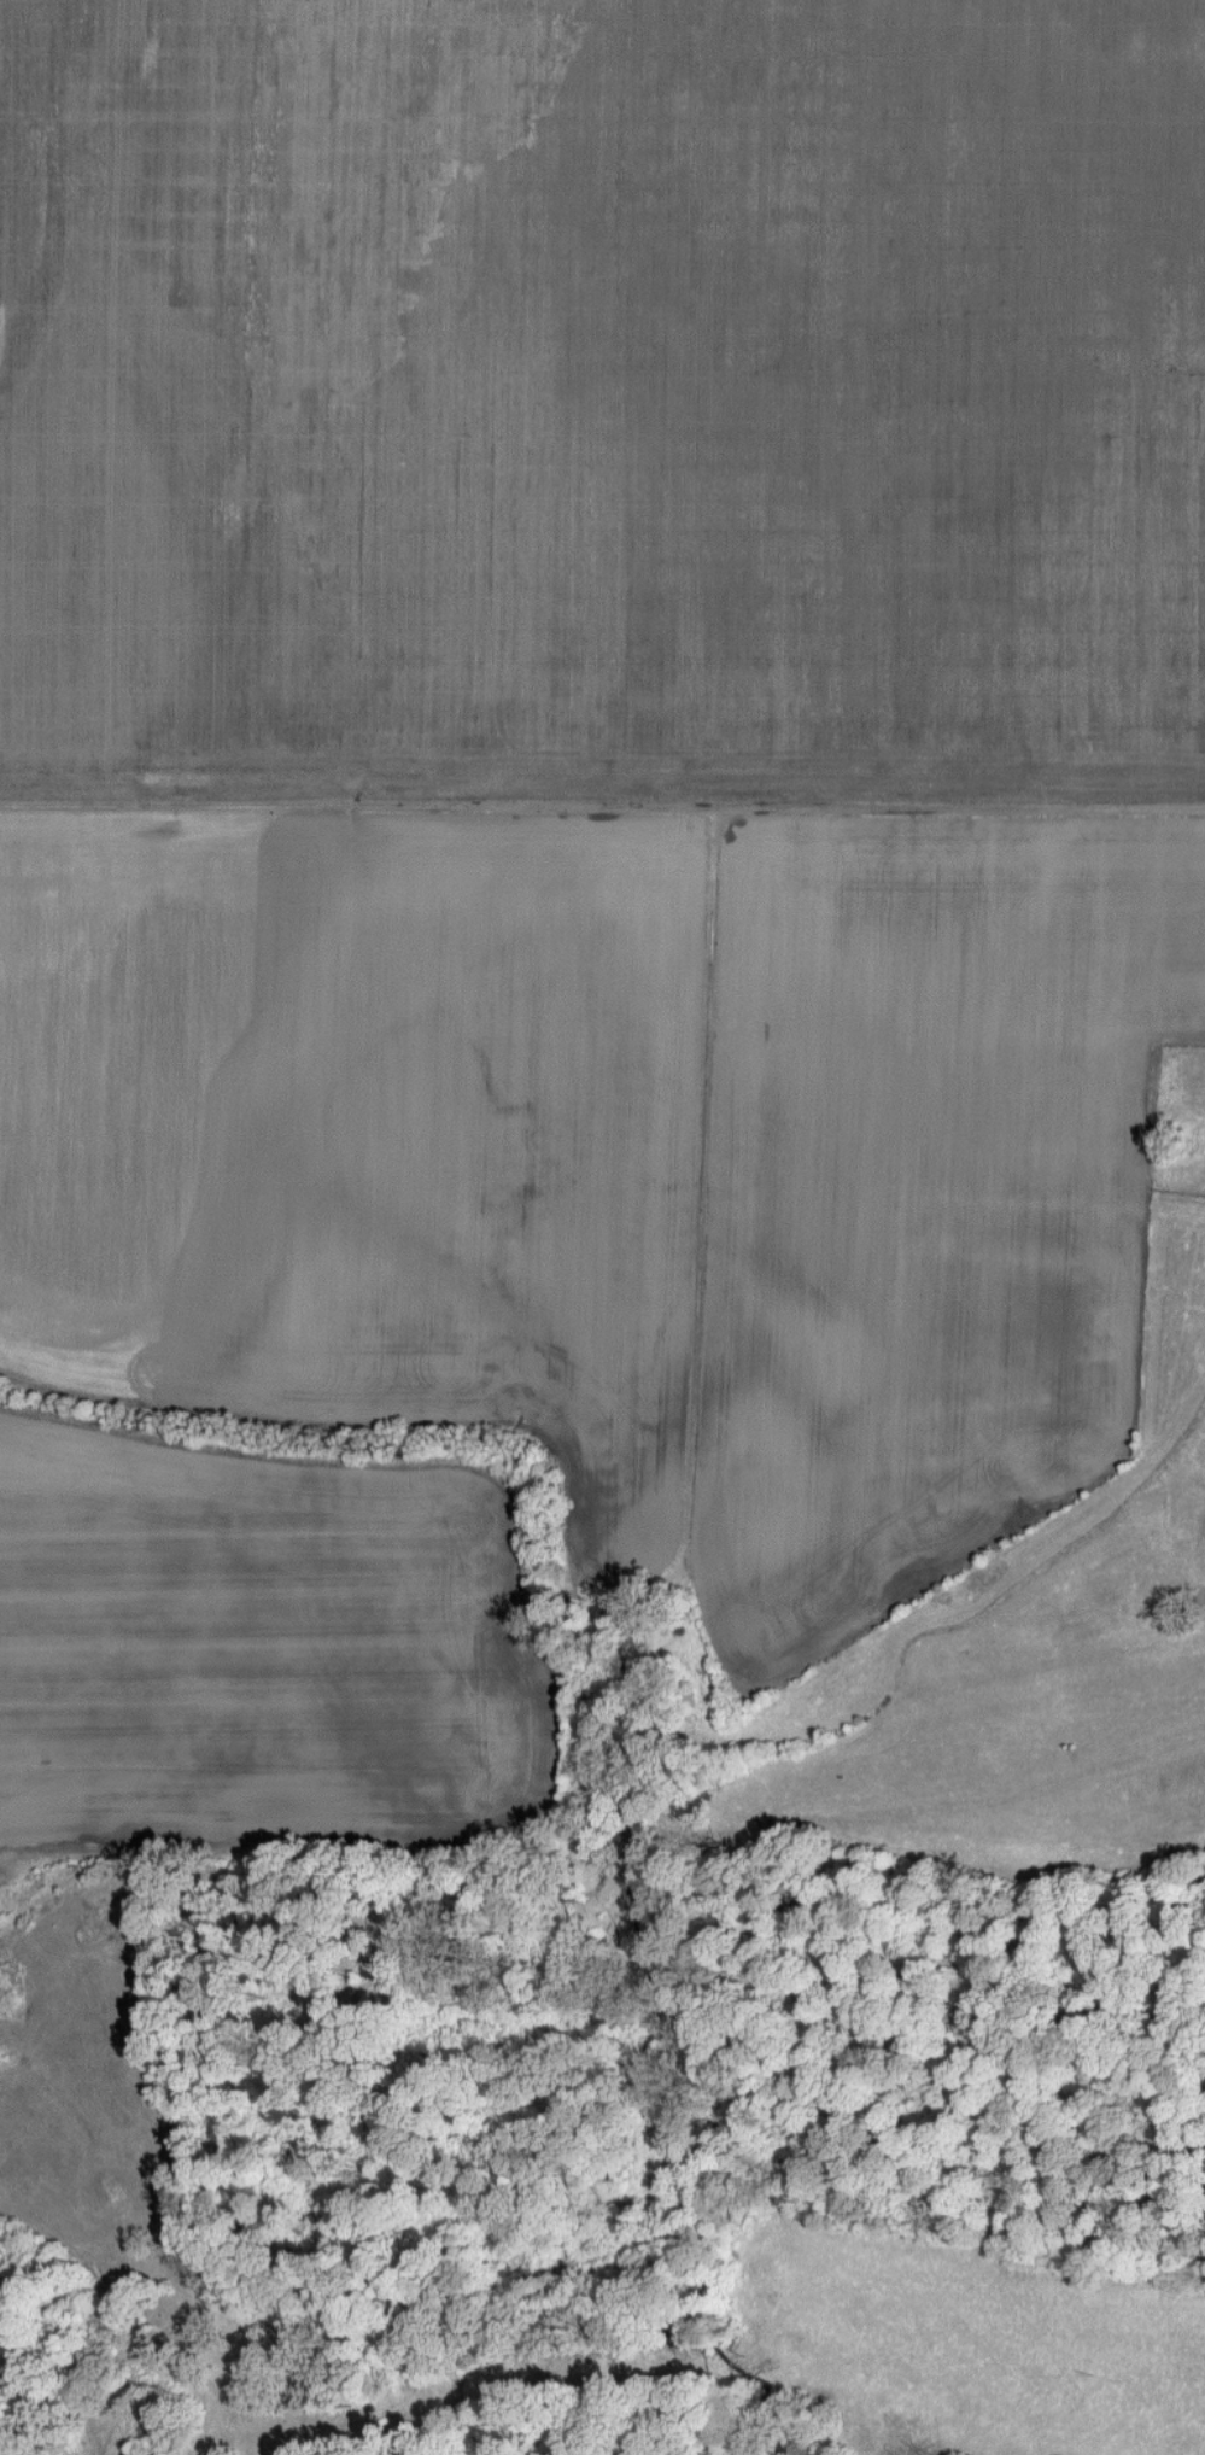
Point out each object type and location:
road: (602, 802)

